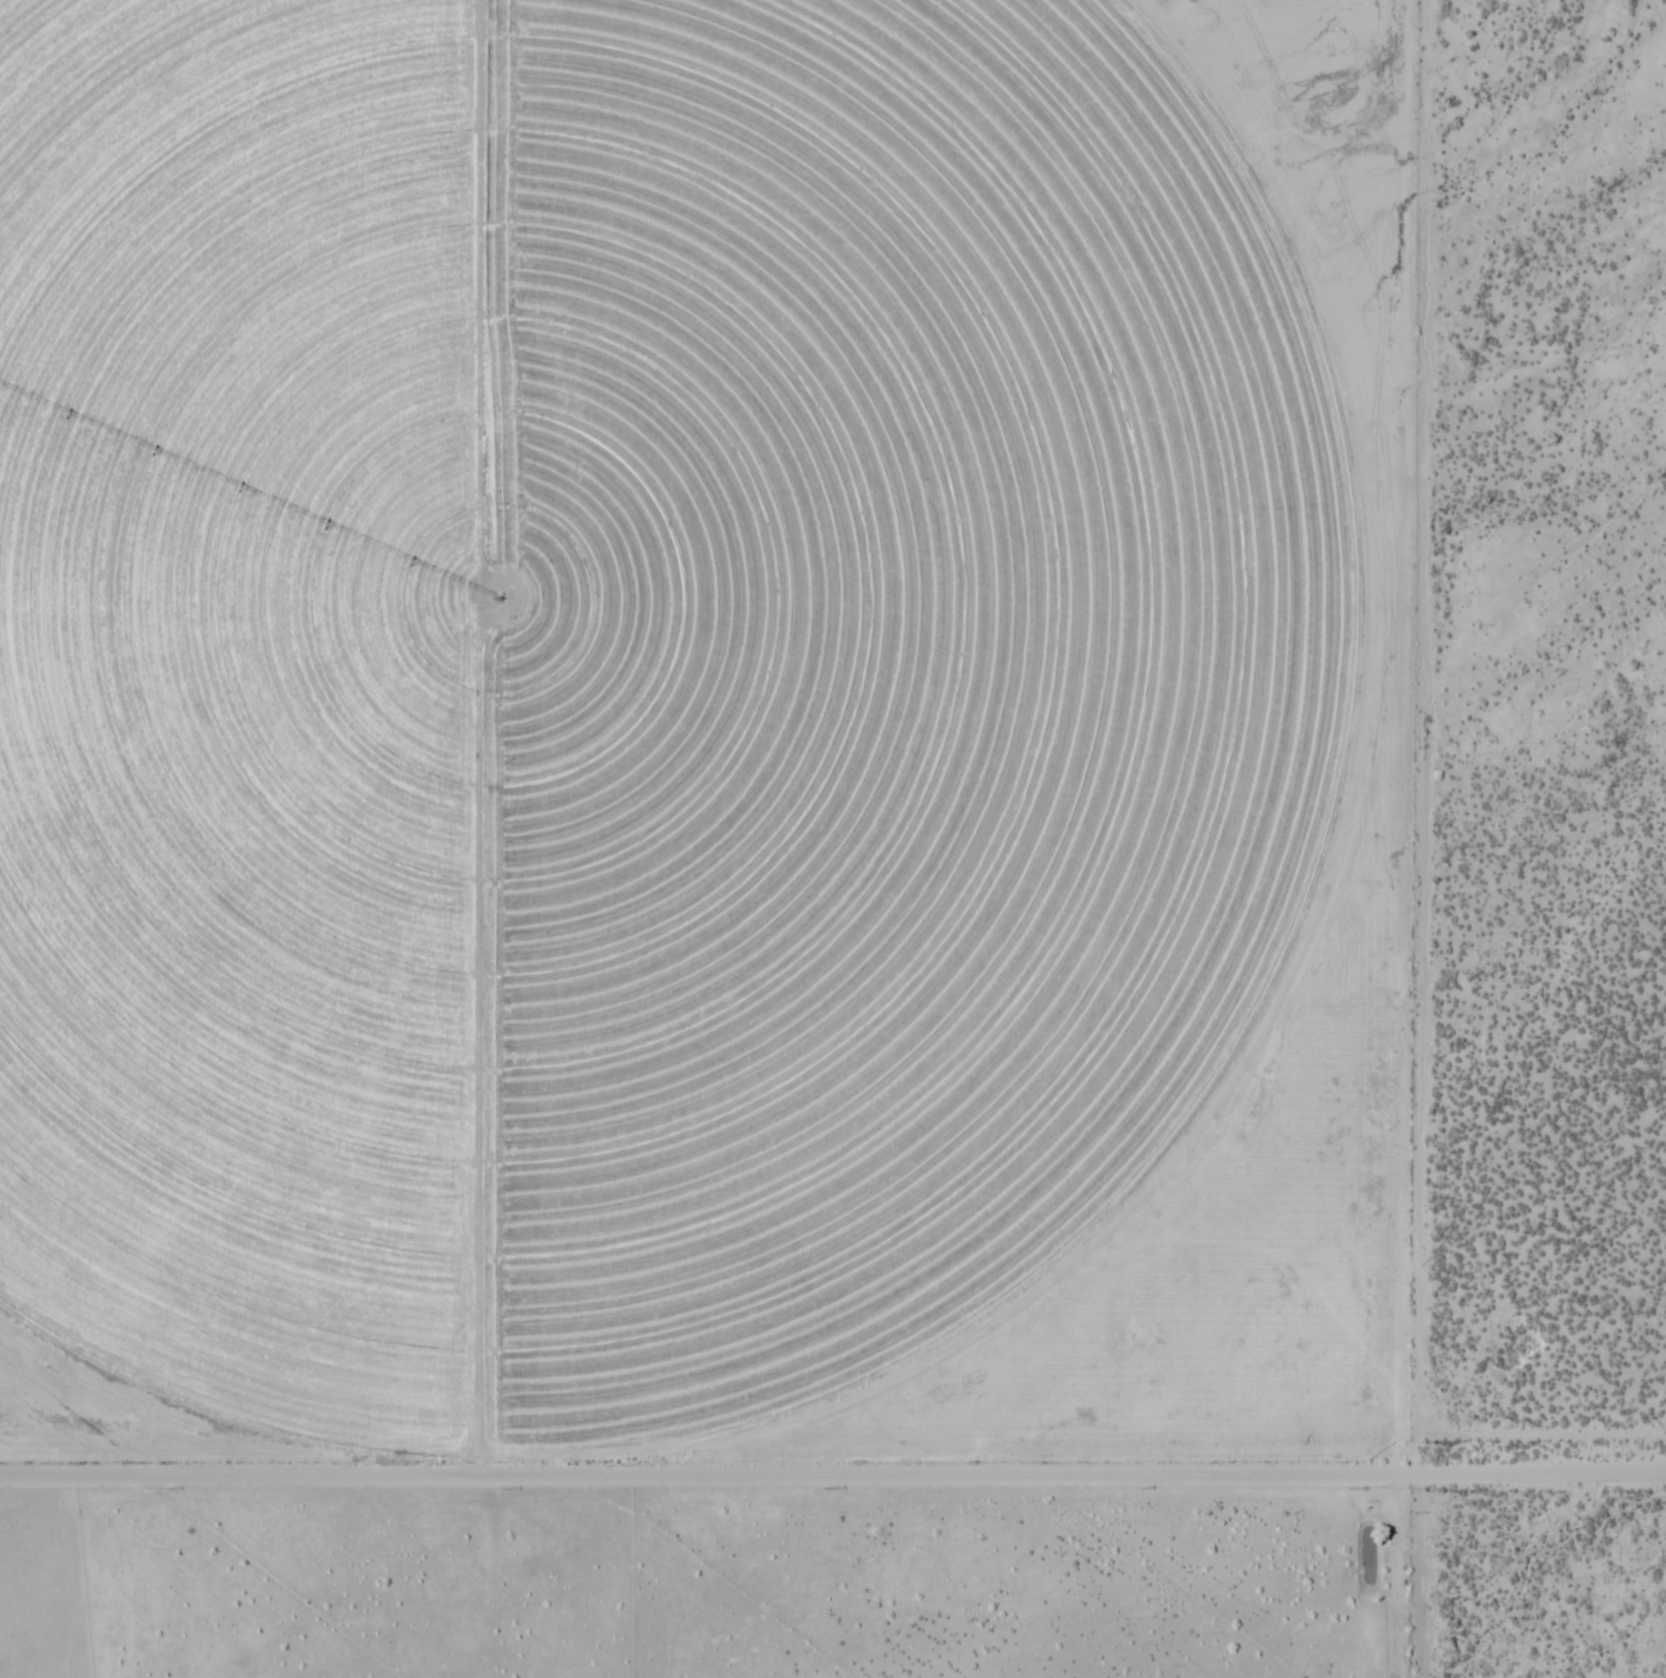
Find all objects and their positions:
crop: (641, 694)
road: (1424, 830)
road: (709, 1474)
road: (1542, 1474)

